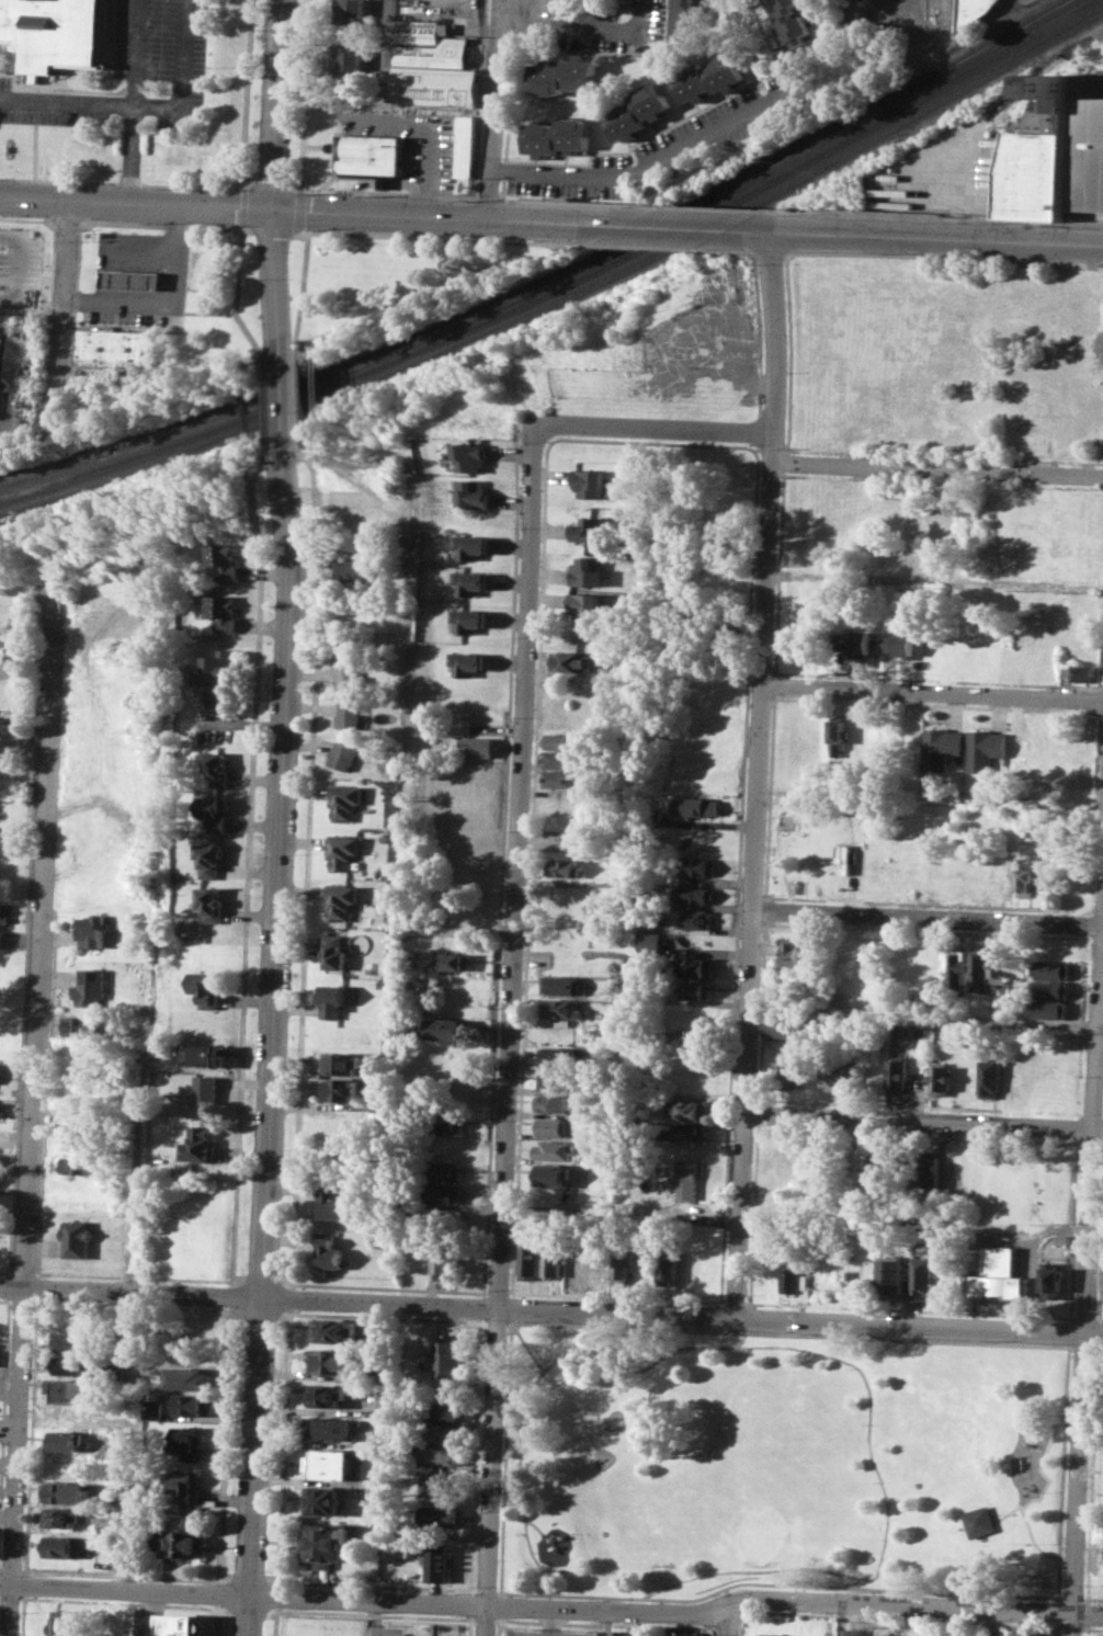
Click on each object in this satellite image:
building: (345, 10)
building: (971, 10)
building: (682, 20)
building: (788, 22)
parking lot: (609, 23)
road: (480, 26)
road: (589, 27)
building: (52, 31)
road: (135, 53)
building: (344, 59)
building: (431, 65)
railway: (1044, 69)
parking lot: (133, 73)
building: (562, 75)
building: (712, 77)
road: (305, 93)
road: (275, 104)
road: (143, 105)
road: (382, 105)
road: (497, 106)
building: (643, 111)
road: (434, 130)
building: (564, 135)
road: (36, 139)
parking lot: (692, 139)
building: (466, 145)
building: (1056, 151)
building: (371, 154)
road: (130, 155)
road: (664, 163)
road: (245, 183)
road: (271, 184)
road: (213, 185)
road: (385, 191)
road: (492, 196)
road: (582, 201)
road: (137, 204)
road: (243, 205)
road: (715, 207)
street lamp: (9, 215)
road: (454, 217)
road: (935, 218)
street lamp: (152, 221)
road: (685, 227)
street lamp: (318, 229)
road: (919, 237)
road: (104, 239)
railway: (550, 277)
building: (135, 280)
gas station: (135, 280)
road: (278, 282)
railway: (561, 285)
road: (242, 294)
railway: (567, 294)
road: (66, 296)
road: (168, 304)
building: (115, 346)
road: (287, 402)
road: (273, 406)
road: (653, 429)
building: (474, 456)
road: (937, 468)
building: (590, 482)
building: (471, 493)
building: (589, 529)
building: (468, 544)
building: (225, 560)
building: (350, 569)
building: (587, 570)
building: (467, 581)
road: (935, 581)
building: (585, 606)
building: (223, 612)
building: (465, 618)
building: (855, 641)
building: (900, 644)
building: (4, 646)
building: (570, 660)
building: (464, 662)
building: (1079, 671)
building: (350, 674)
building: (215, 678)
road: (932, 692)
building: (349, 714)
building: (5, 724)
building: (839, 737)
building: (562, 740)
building: (474, 746)
building: (939, 747)
building: (981, 749)
building: (344, 754)
building: (559, 759)
building: (216, 766)
road: (758, 774)
building: (561, 779)
building: (344, 800)
building: (702, 804)
building: (213, 810)
building: (343, 850)
building: (209, 857)
building: (696, 865)
building: (561, 866)
road: (247, 868)
building: (1024, 877)
building: (694, 893)
building: (342, 900)
building: (211, 904)
building: (2, 912)
road: (928, 918)
building: (695, 919)
road: (23, 928)
building: (90, 931)
building: (649, 942)
building: (793, 951)
building: (334, 952)
building: (451, 961)
building: (694, 966)
building: (1049, 968)
building: (977, 969)
building: (998, 970)
building: (955, 972)
building: (560, 985)
building: (88, 987)
building: (205, 987)
building: (1048, 988)
building: (695, 990)
building: (332, 1000)
building: (560, 1008)
building: (1048, 1009)
road: (511, 1014)
road: (925, 1019)
road: (271, 1023)
building: (83, 1025)
building: (782, 1026)
building: (445, 1027)
building: (920, 1032)
building: (692, 1036)
building: (201, 1054)
building: (559, 1055)
building: (692, 1061)
building: (341, 1063)
building: (786, 1072)
building: (838, 1073)
building: (898, 1075)
building: (990, 1077)
building: (556, 1080)
building: (941, 1080)
building: (205, 1089)
building: (340, 1090)
road: (44, 1093)
building: (557, 1103)
building: (379, 1105)
building: (1, 1107)
building: (685, 1109)
road: (31, 1112)
building: (77, 1118)
road: (923, 1120)
building: (445, 1123)
building: (557, 1126)
building: (684, 1132)
building: (196, 1145)
building: (551, 1149)
building: (78, 1164)
building: (930, 1166)
building: (880, 1167)
building: (442, 1169)
building: (553, 1174)
building: (685, 1179)
building: (441, 1194)
building: (328, 1201)
road: (1034, 1228)
building: (767, 1236)
building: (78, 1238)
building: (327, 1250)
building: (551, 1258)
building: (528, 1260)
building: (445, 1261)
building: (575, 1261)
building: (599, 1263)
building: (622, 1263)
building: (667, 1265)
road: (133, 1276)
building: (792, 1276)
building: (891, 1276)
building: (921, 1276)
building: (999, 1276)
building: (1051, 1281)
road: (8, 1286)
road: (36, 1287)
road: (1084, 1294)
road: (230, 1295)
road: (3, 1299)
road: (550, 1309)
building: (333, 1330)
road: (522, 1339)
building: (71, 1340)
road: (781, 1345)
building: (447, 1360)
building: (329, 1361)
building: (73, 1365)
building: (190, 1377)
building: (75, 1389)
road: (3, 1393)
building: (327, 1395)
building: (194, 1402)
building: (153, 1407)
building: (446, 1409)
building: (72, 1415)
road: (1055, 1427)
building: (332, 1428)
building: (443, 1433)
road: (31, 1436)
building: (67, 1440)
building: (187, 1441)
road: (225, 1444)
building: (441, 1455)
park: (780, 1462)
building: (331, 1464)
building: (440, 1485)
road: (1046, 1487)
building: (187, 1488)
road: (521, 1491)
building: (68, 1492)
building: (323, 1499)
building: (120, 1515)
building: (440, 1515)
building: (66, 1516)
building: (979, 1521)
road: (534, 1524)
building: (180, 1543)
building: (326, 1543)
building: (68, 1546)
building: (439, 1563)
street lamp: (265, 1569)
road: (770, 1569)
street lamp: (209, 1582)
road: (24, 1583)
street lamp: (475, 1584)
road: (124, 1589)
road: (219, 1593)
road: (1056, 1597)
road: (794, 1599)
road: (367, 1601)
street lamp: (286, 1607)
street lamp: (365, 1611)
road: (23, 1615)
street lamp: (458, 1615)
road: (248, 1616)
street lamp: (502, 1616)
road: (373, 1618)
road: (728, 1618)
road: (217, 1620)
road: (487, 1621)
road: (603, 1622)
building: (62, 1623)
building: (184, 1624)
building: (854, 1632)
parking lot: (545, 1633)
building: (622, 1633)
building: (681, 1633)
building: (1025, 1633)
building: (771, 1634)

